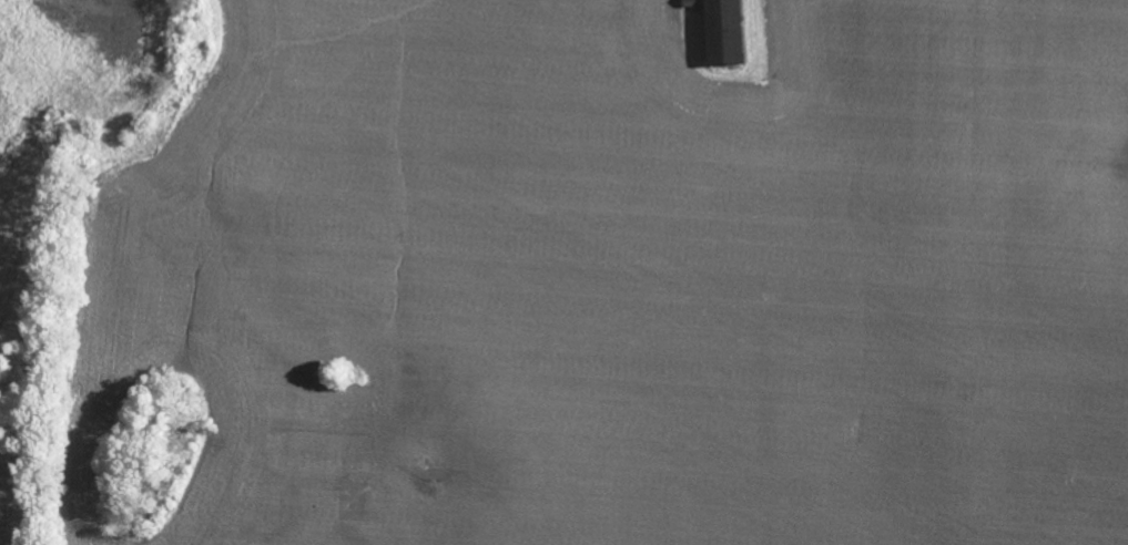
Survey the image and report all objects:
building: (694, 3)
building: (725, 32)

